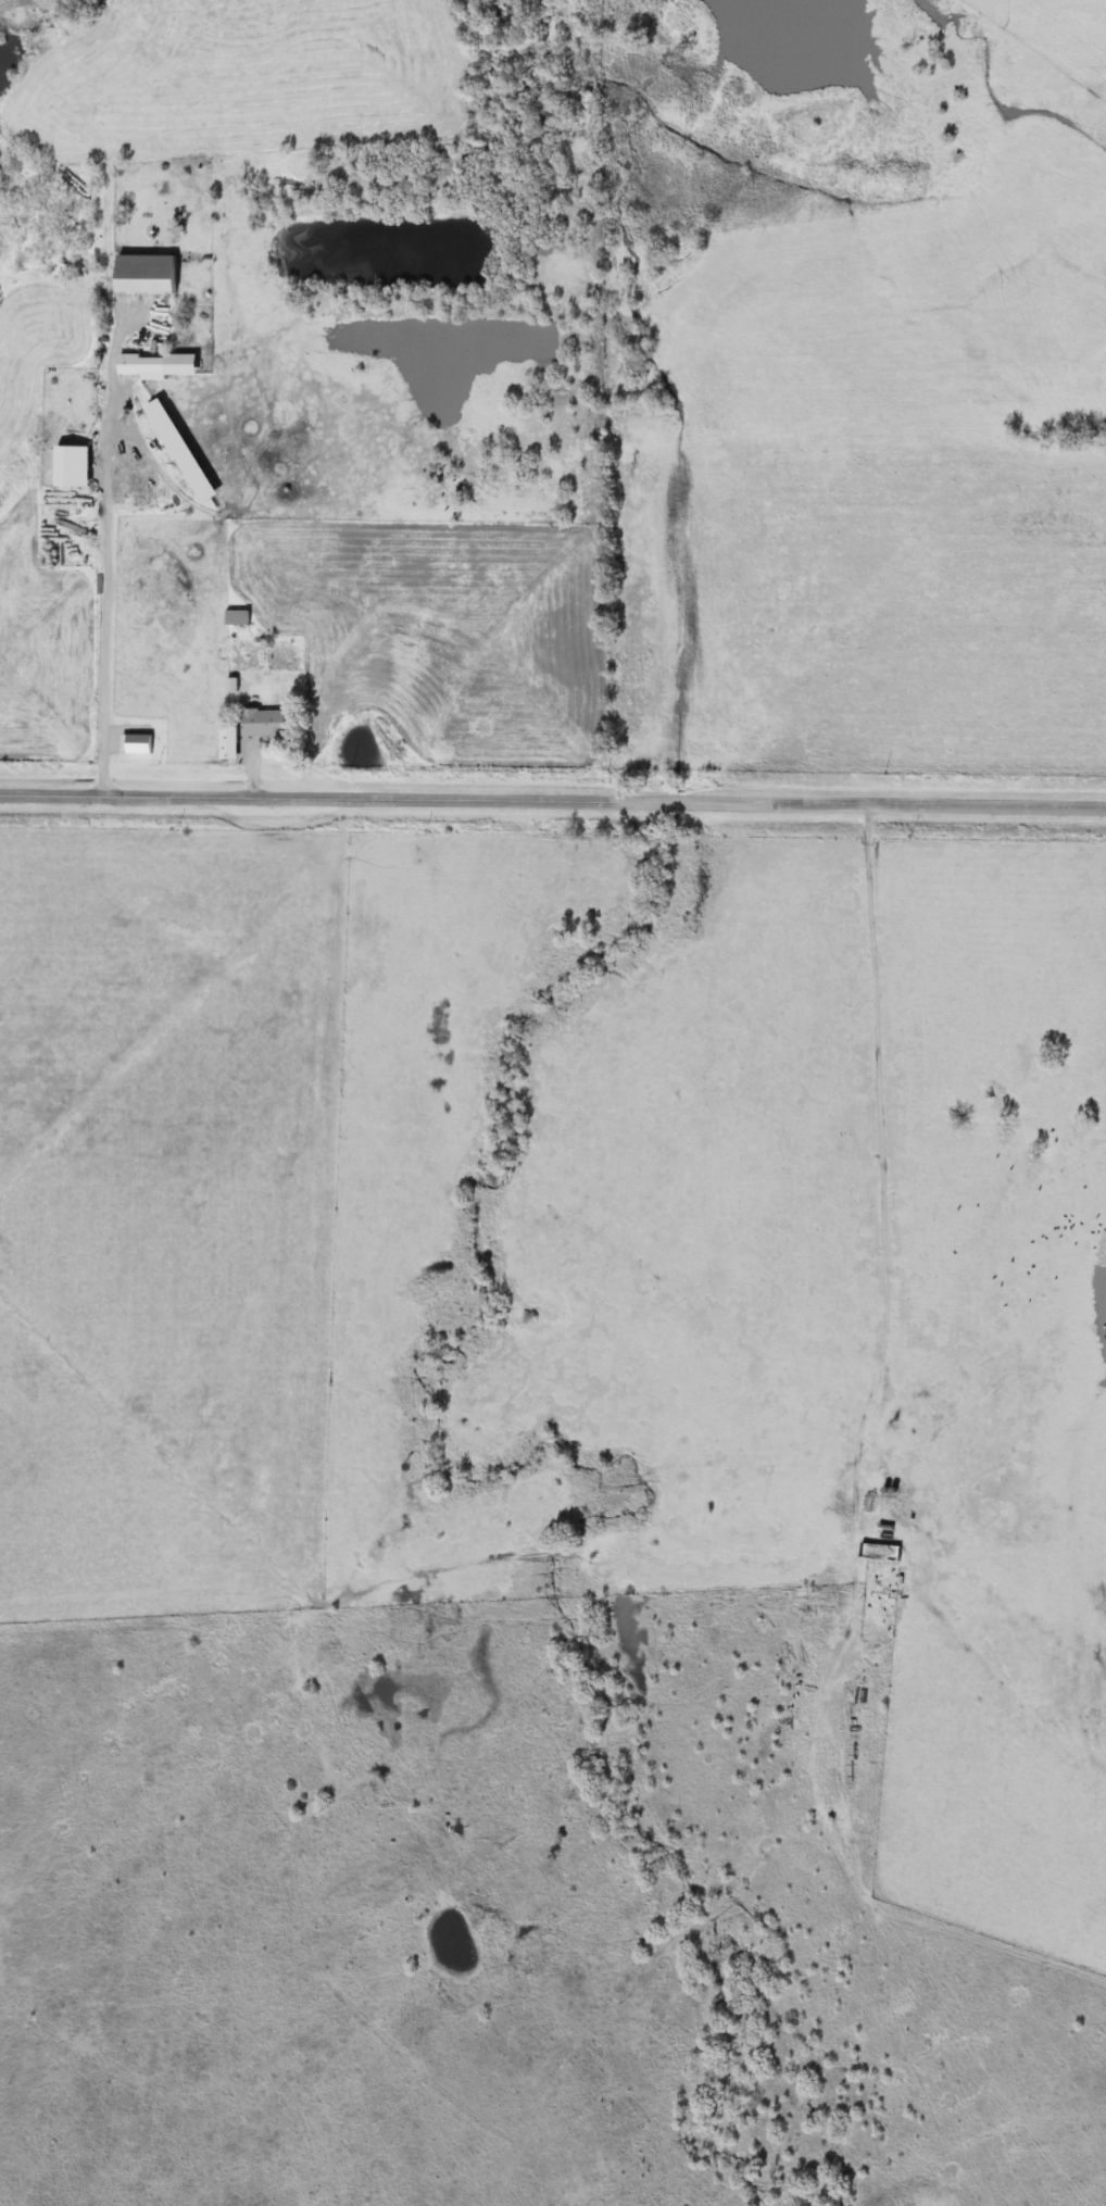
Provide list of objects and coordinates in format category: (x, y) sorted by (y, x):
building: (141, 274)
building: (153, 365)
building: (177, 450)
building: (68, 466)
building: (260, 724)
building: (225, 742)
road: (552, 797)

